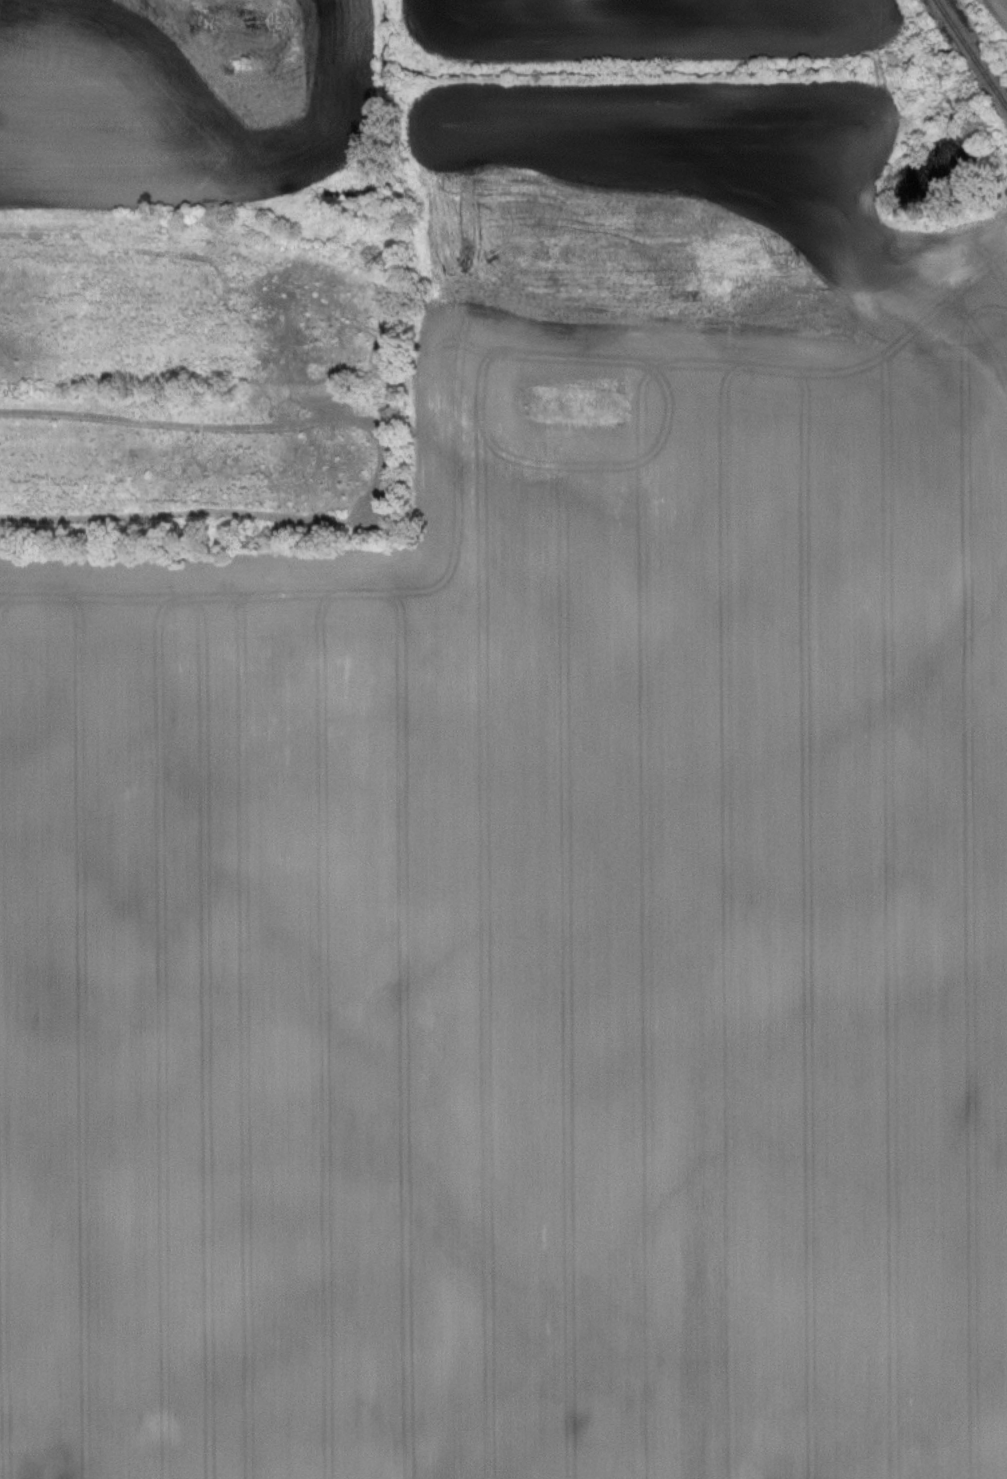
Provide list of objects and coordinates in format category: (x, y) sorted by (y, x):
railway: (973, 51)

